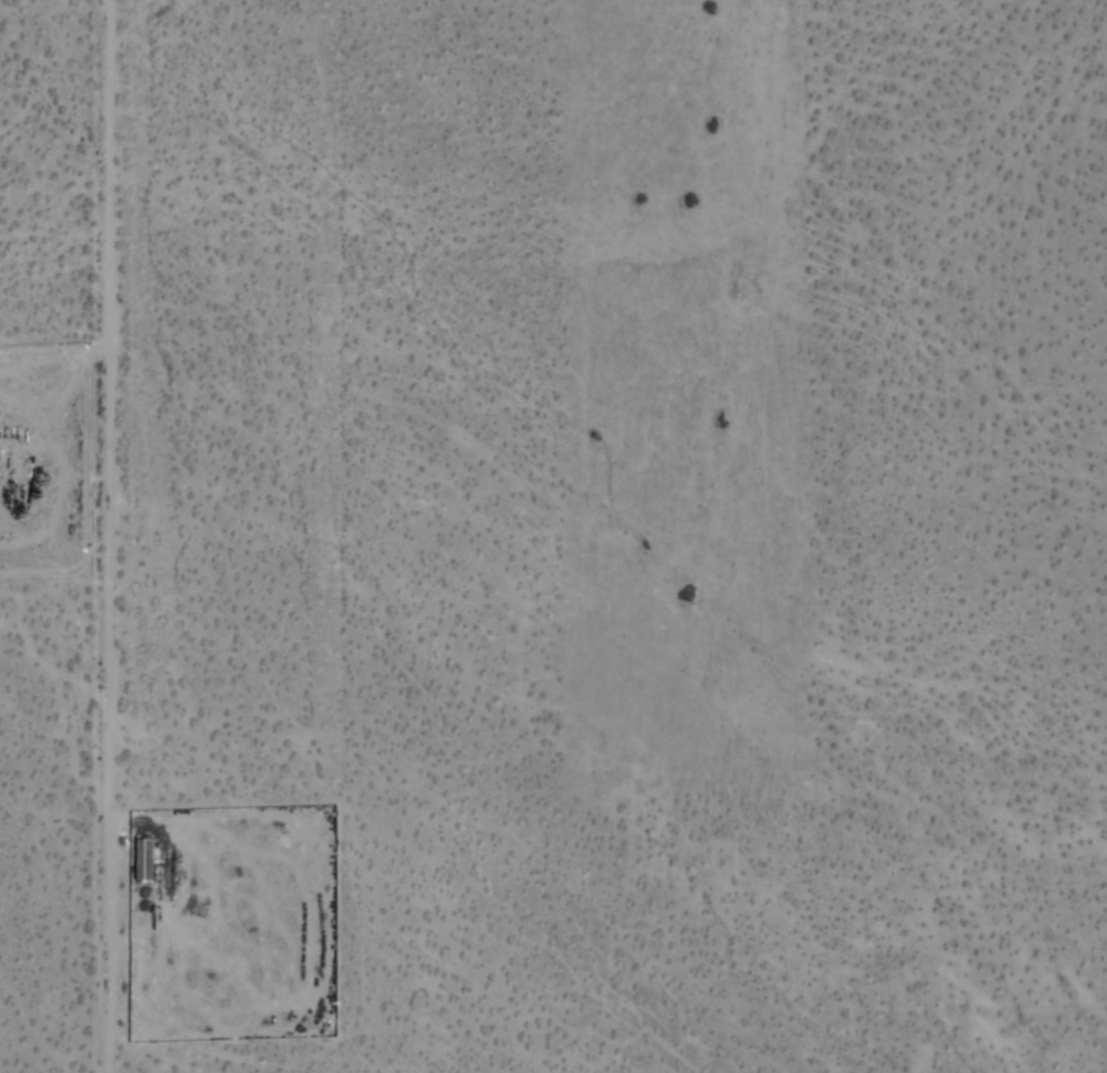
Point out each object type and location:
road: (104, 535)

